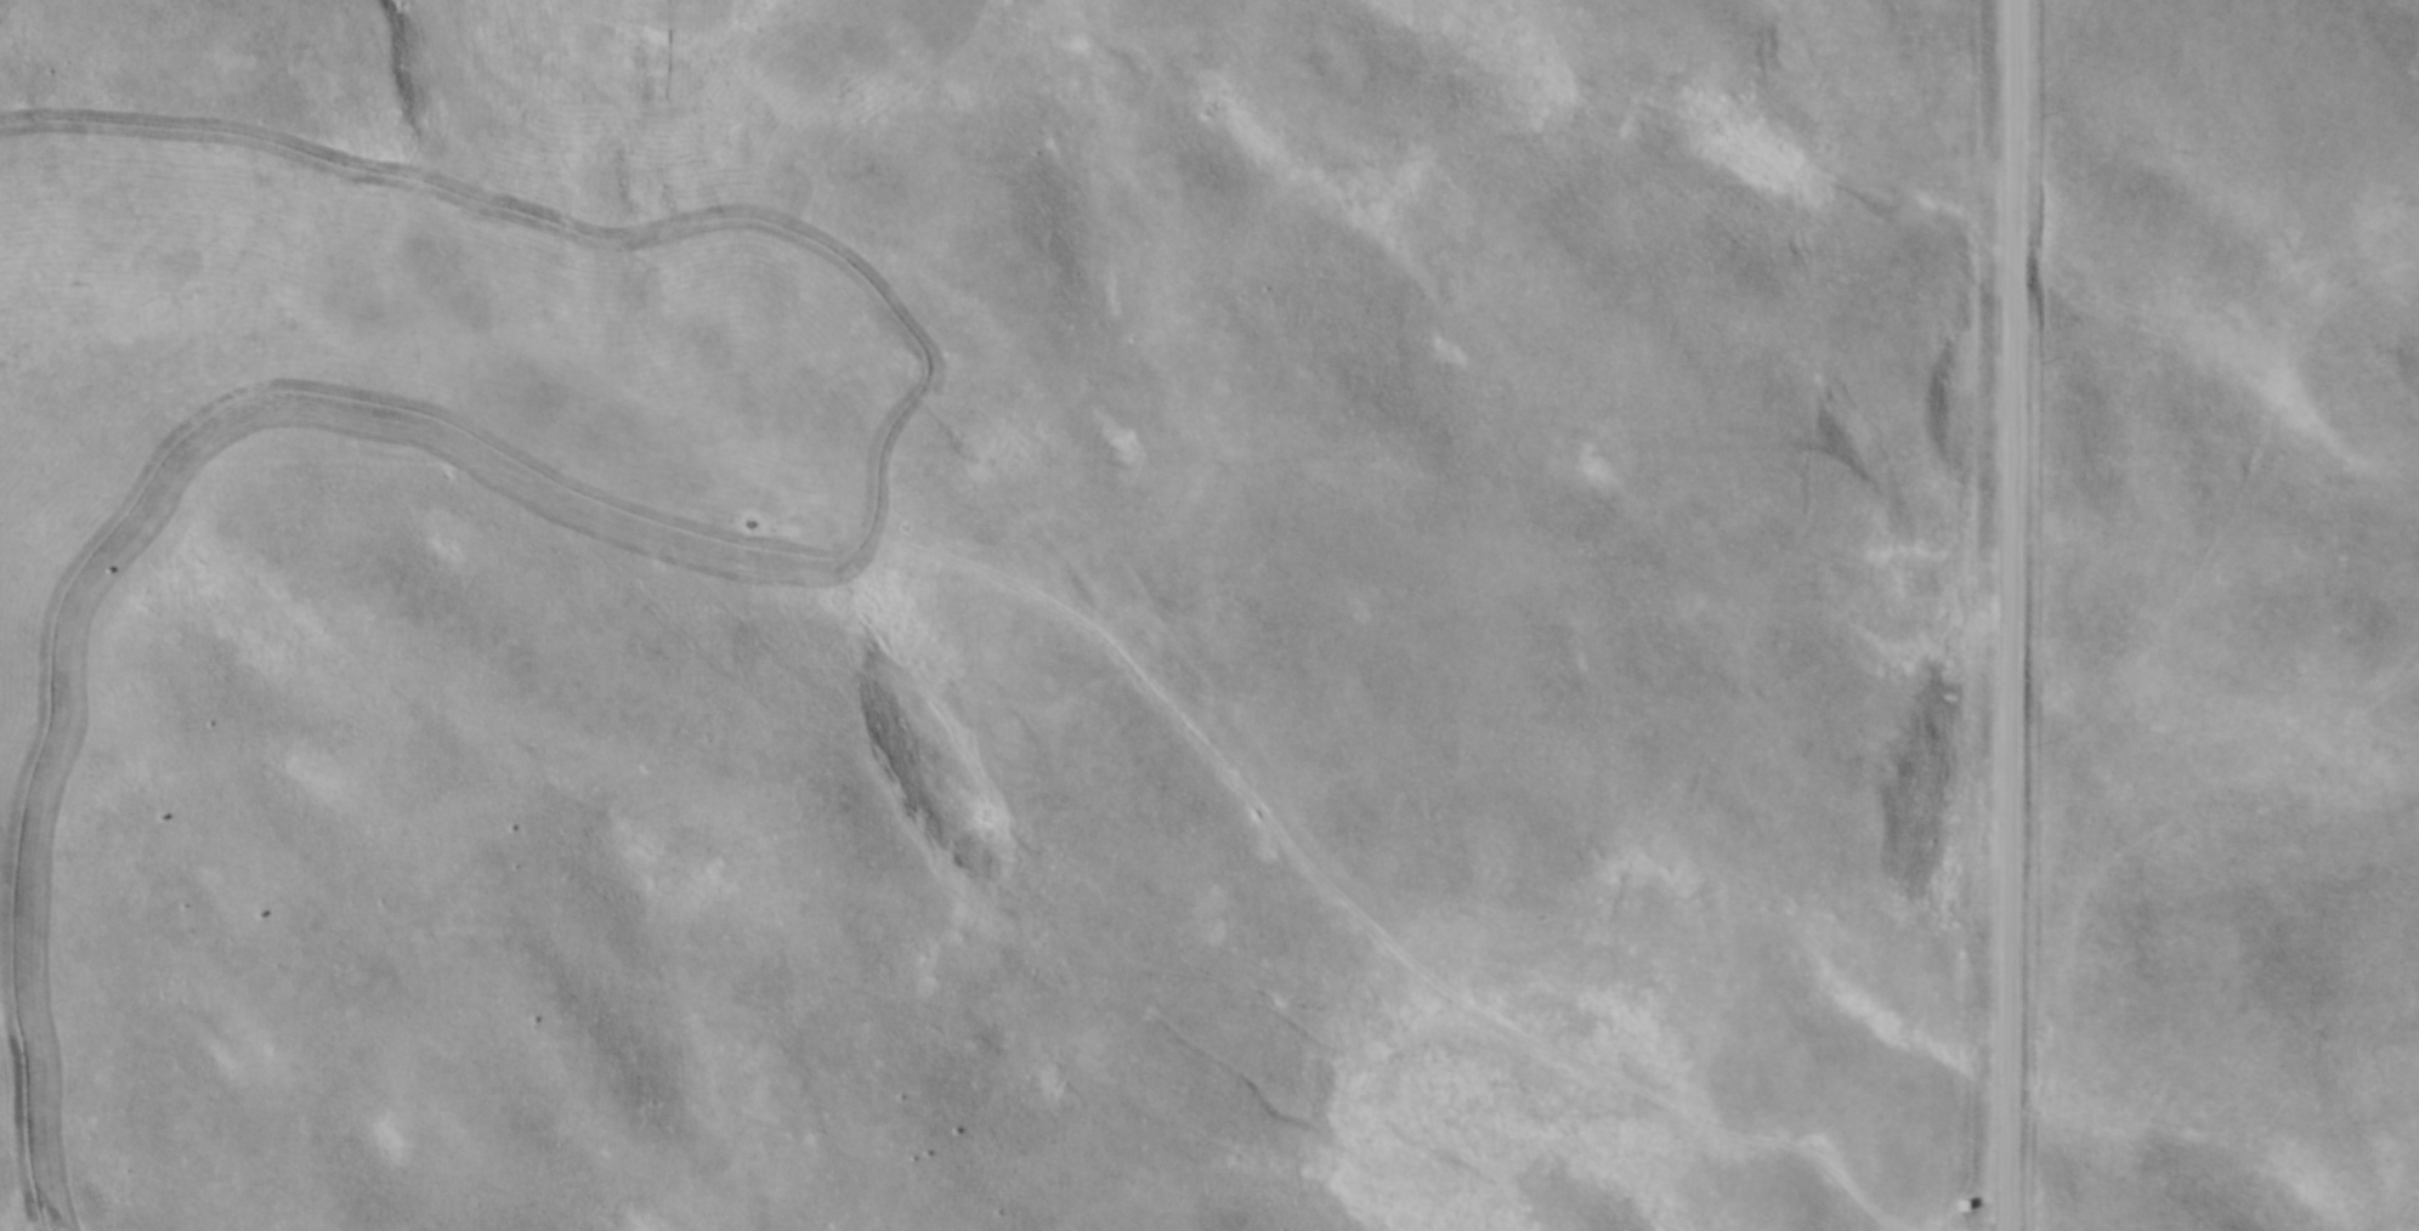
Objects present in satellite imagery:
road: (2010, 614)

